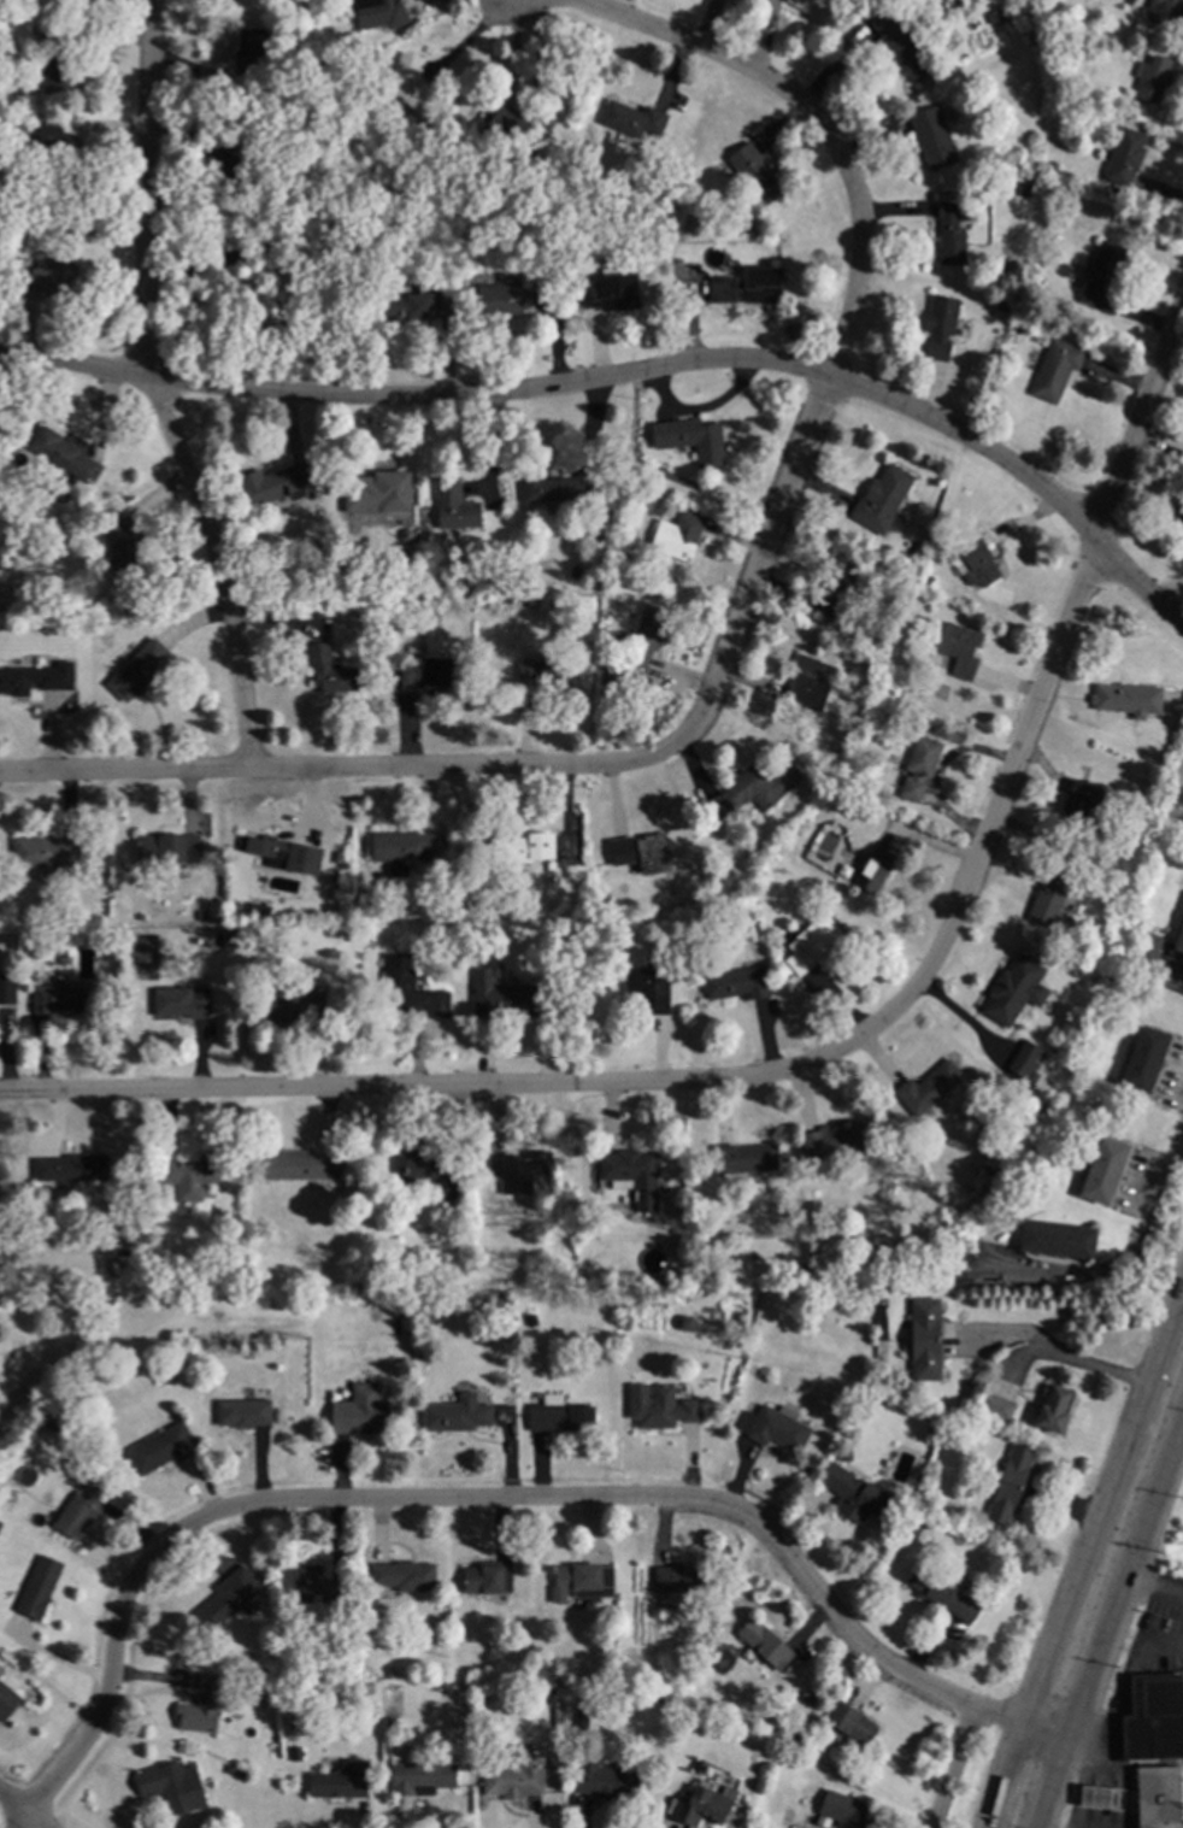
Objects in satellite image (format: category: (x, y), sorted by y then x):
building: (810, 6)
building: (1043, 8)
building: (1166, 10)
building: (379, 13)
building: (1000, 14)
road: (473, 39)
building: (901, 43)
building: (243, 63)
building: (58, 70)
building: (1154, 78)
building: (414, 89)
building: (632, 119)
building: (511, 129)
building: (932, 137)
building: (47, 146)
building: (1125, 157)
building: (229, 160)
building: (755, 174)
building: (1024, 187)
building: (604, 198)
building: (602, 214)
building: (752, 230)
building: (950, 235)
building: (294, 236)
building: (683, 268)
building: (1101, 272)
building: (43, 277)
building: (429, 282)
building: (748, 287)
building: (611, 293)
building: (502, 300)
building: (269, 308)
building: (407, 308)
building: (941, 325)
building: (1055, 370)
road: (631, 381)
road: (152, 390)
road: (1140, 411)
building: (691, 440)
building: (63, 454)
building: (278, 484)
building: (557, 487)
building: (378, 492)
building: (882, 500)
building: (454, 506)
building: (1179, 512)
building: (677, 536)
building: (123, 552)
building: (978, 564)
building: (575, 574)
building: (928, 580)
building: (841, 589)
building: (432, 615)
building: (72, 624)
road: (741, 627)
building: (646, 636)
building: (959, 650)
building: (137, 671)
building: (330, 671)
building: (431, 675)
building: (541, 677)
building: (36, 678)
building: (607, 678)
building: (811, 683)
building: (1128, 699)
building: (869, 725)
building: (919, 768)
road: (1176, 787)
building: (752, 790)
building: (1082, 799)
building: (799, 830)
building: (167, 850)
building: (402, 850)
building: (522, 851)
building: (46, 852)
building: (282, 853)
building: (642, 853)
building: (873, 871)
building: (1049, 899)
building: (459, 906)
building: (259, 911)
building: (607, 913)
building: (24, 916)
building: (204, 916)
building: (140, 918)
building: (1179, 940)
building: (679, 941)
building: (812, 944)
building: (1146, 956)
building: (816, 983)
building: (737, 984)
building: (647, 989)
building: (1014, 991)
building: (410, 992)
building: (5, 994)
building: (504, 995)
building: (63, 997)
building: (182, 1003)
building: (316, 1004)
building: (281, 1006)
building: (1025, 1059)
building: (1146, 1059)
road: (718, 1072)
building: (929, 1089)
building: (1103, 1092)
building: (1099, 1128)
building: (834, 1142)
building: (744, 1158)
building: (299, 1166)
building: (72, 1168)
building: (519, 1170)
building: (629, 1170)
building: (990, 1170)
building: (1103, 1170)
building: (425, 1171)
building: (189, 1174)
building: (1, 1175)
building: (1, 1180)
building: (967, 1189)
road: (1161, 1199)
building: (1057, 1240)
building: (17, 1242)
building: (881, 1248)
building: (560, 1272)
building: (924, 1338)
road: (1052, 1354)
building: (994, 1405)
building: (661, 1406)
building: (1053, 1410)
building: (360, 1411)
building: (245, 1412)
building: (455, 1415)
building: (559, 1417)
building: (773, 1428)
building: (160, 1448)
building: (1010, 1483)
building: (852, 1494)
road: (490, 1504)
building: (80, 1510)
road: (1083, 1554)
building: (402, 1577)
building: (487, 1577)
building: (678, 1579)
building: (575, 1581)
building: (310, 1585)
building: (39, 1587)
road: (1153, 1587)
building: (942, 1593)
building: (234, 1595)
road: (1106, 1622)
road: (1142, 1641)
building: (765, 1644)
building: (6, 1700)
building: (201, 1705)
building: (1155, 1717)
building: (581, 1718)
building: (851, 1724)
road: (950, 1769)
building: (425, 1775)
building: (511, 1777)
building: (604, 1777)
building: (341, 1781)
building: (172, 1785)
building: (1100, 1797)
building: (1158, 1797)
gas station: (1158, 1797)
building: (702, 1805)
building: (846, 1810)
road: (17, 1815)
road: (22, 1824)

